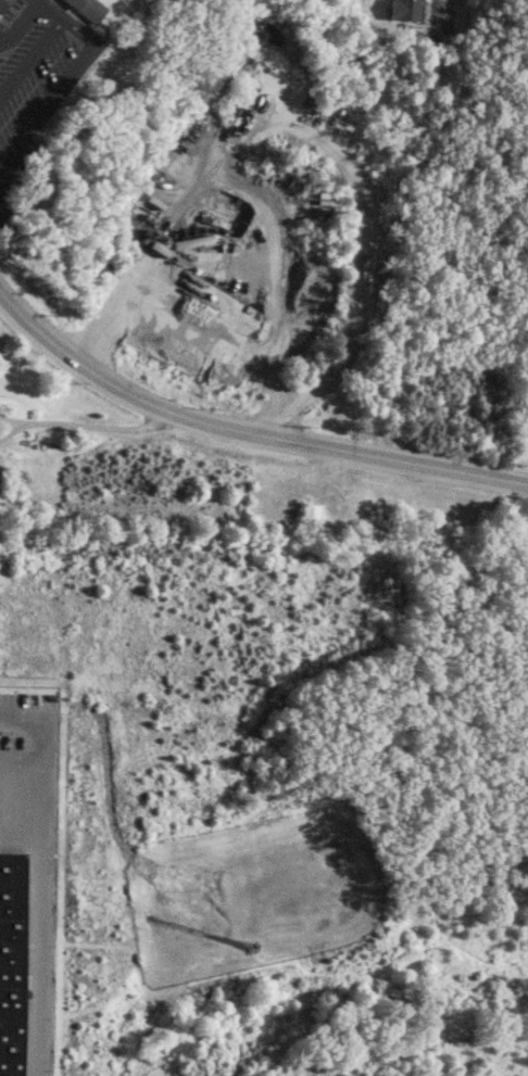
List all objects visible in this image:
building: (2, 3)
building: (85, 9)
building: (405, 10)
road: (18, 20)
building: (281, 80)
building: (242, 93)
building: (181, 263)
road: (198, 340)
road: (11, 420)
road: (98, 427)
road: (11, 428)
road: (246, 433)
building: (336, 497)
building: (309, 510)
road: (17, 756)
road: (32, 877)
building: (5, 954)

